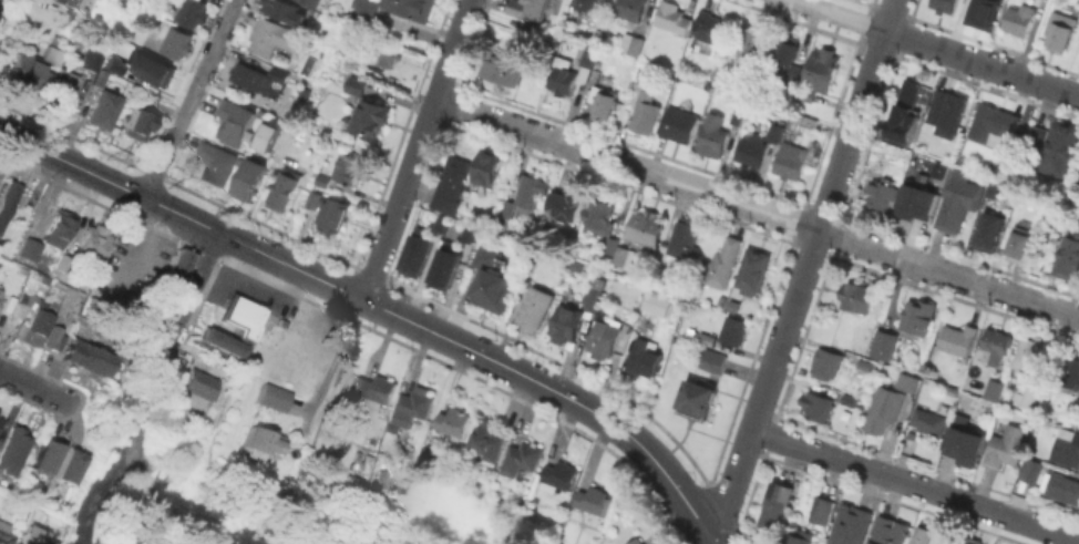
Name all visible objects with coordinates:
building: (315, 3)
building: (69, 4)
building: (588, 4)
building: (946, 6)
building: (413, 9)
building: (633, 10)
building: (286, 11)
building: (194, 12)
building: (366, 12)
building: (535, 12)
building: (980, 13)
building: (672, 20)
building: (1019, 20)
building: (1061, 29)
building: (711, 33)
building: (275, 38)
building: (177, 43)
building: (751, 44)
building: (637, 48)
road: (937, 48)
building: (56, 55)
building: (384, 55)
building: (92, 61)
building: (787, 62)
building: (116, 66)
building: (824, 70)
building: (505, 71)
building: (156, 72)
building: (25, 73)
building: (572, 74)
building: (259, 80)
building: (353, 84)
building: (61, 92)
building: (808, 94)
road: (189, 99)
building: (604, 102)
building: (907, 107)
building: (104, 111)
building: (646, 113)
building: (950, 113)
building: (739, 117)
building: (371, 119)
building: (237, 122)
building: (810, 122)
building: (995, 123)
building: (140, 125)
building: (680, 126)
building: (270, 135)
building: (713, 136)
building: (1038, 136)
building: (759, 147)
building: (1059, 148)
road: (415, 150)
building: (792, 163)
building: (214, 167)
building: (346, 168)
building: (489, 168)
building: (1077, 176)
road: (110, 181)
building: (251, 181)
building: (323, 184)
building: (451, 185)
building: (286, 192)
building: (883, 192)
building: (532, 193)
building: (8, 199)
building: (917, 201)
building: (958, 202)
building: (314, 203)
building: (567, 206)
building: (505, 208)
road: (756, 209)
building: (603, 215)
building: (332, 219)
building: (439, 223)
building: (1078, 223)
building: (648, 228)
building: (60, 229)
building: (991, 229)
building: (465, 232)
building: (1020, 243)
building: (92, 246)
building: (680, 246)
building: (30, 252)
building: (414, 252)
building: (621, 255)
building: (1069, 259)
building: (64, 264)
building: (443, 265)
building: (725, 265)
road: (805, 266)
building: (179, 271)
building: (753, 273)
building: (494, 283)
road: (196, 284)
building: (53, 290)
building: (0, 294)
building: (859, 297)
building: (594, 300)
building: (657, 302)
building: (19, 309)
building: (534, 314)
building: (239, 316)
building: (918, 317)
building: (35, 322)
building: (568, 324)
building: (10, 328)
building: (734, 332)
building: (54, 338)
building: (605, 339)
building: (708, 340)
building: (957, 340)
building: (223, 343)
building: (884, 345)
building: (996, 347)
building: (1029, 352)
building: (84, 357)
road: (490, 358)
building: (646, 359)
building: (713, 361)
road: (333, 365)
building: (826, 365)
building: (1072, 372)
building: (907, 381)
road: (35, 387)
building: (202, 389)
building: (995, 390)
building: (376, 392)
building: (1026, 392)
building: (850, 398)
building: (275, 399)
building: (699, 401)
building: (819, 406)
road: (143, 408)
building: (413, 409)
building: (883, 411)
building: (0, 419)
building: (454, 422)
building: (929, 422)
building: (967, 440)
building: (261, 443)
building: (489, 443)
building: (1007, 447)
building: (1067, 448)
building: (14, 452)
building: (47, 455)
building: (523, 463)
building: (68, 464)
building: (1031, 470)
building: (558, 474)
building: (377, 481)
road: (915, 484)
road: (690, 486)
building: (1063, 489)
road: (106, 491)
building: (595, 501)
building: (777, 503)
building: (822, 511)
road: (179, 519)
building: (851, 524)
building: (891, 532)
building: (928, 534)
building: (37, 537)
building: (7, 538)
building: (801, 538)
building: (969, 540)
building: (639, 542)

